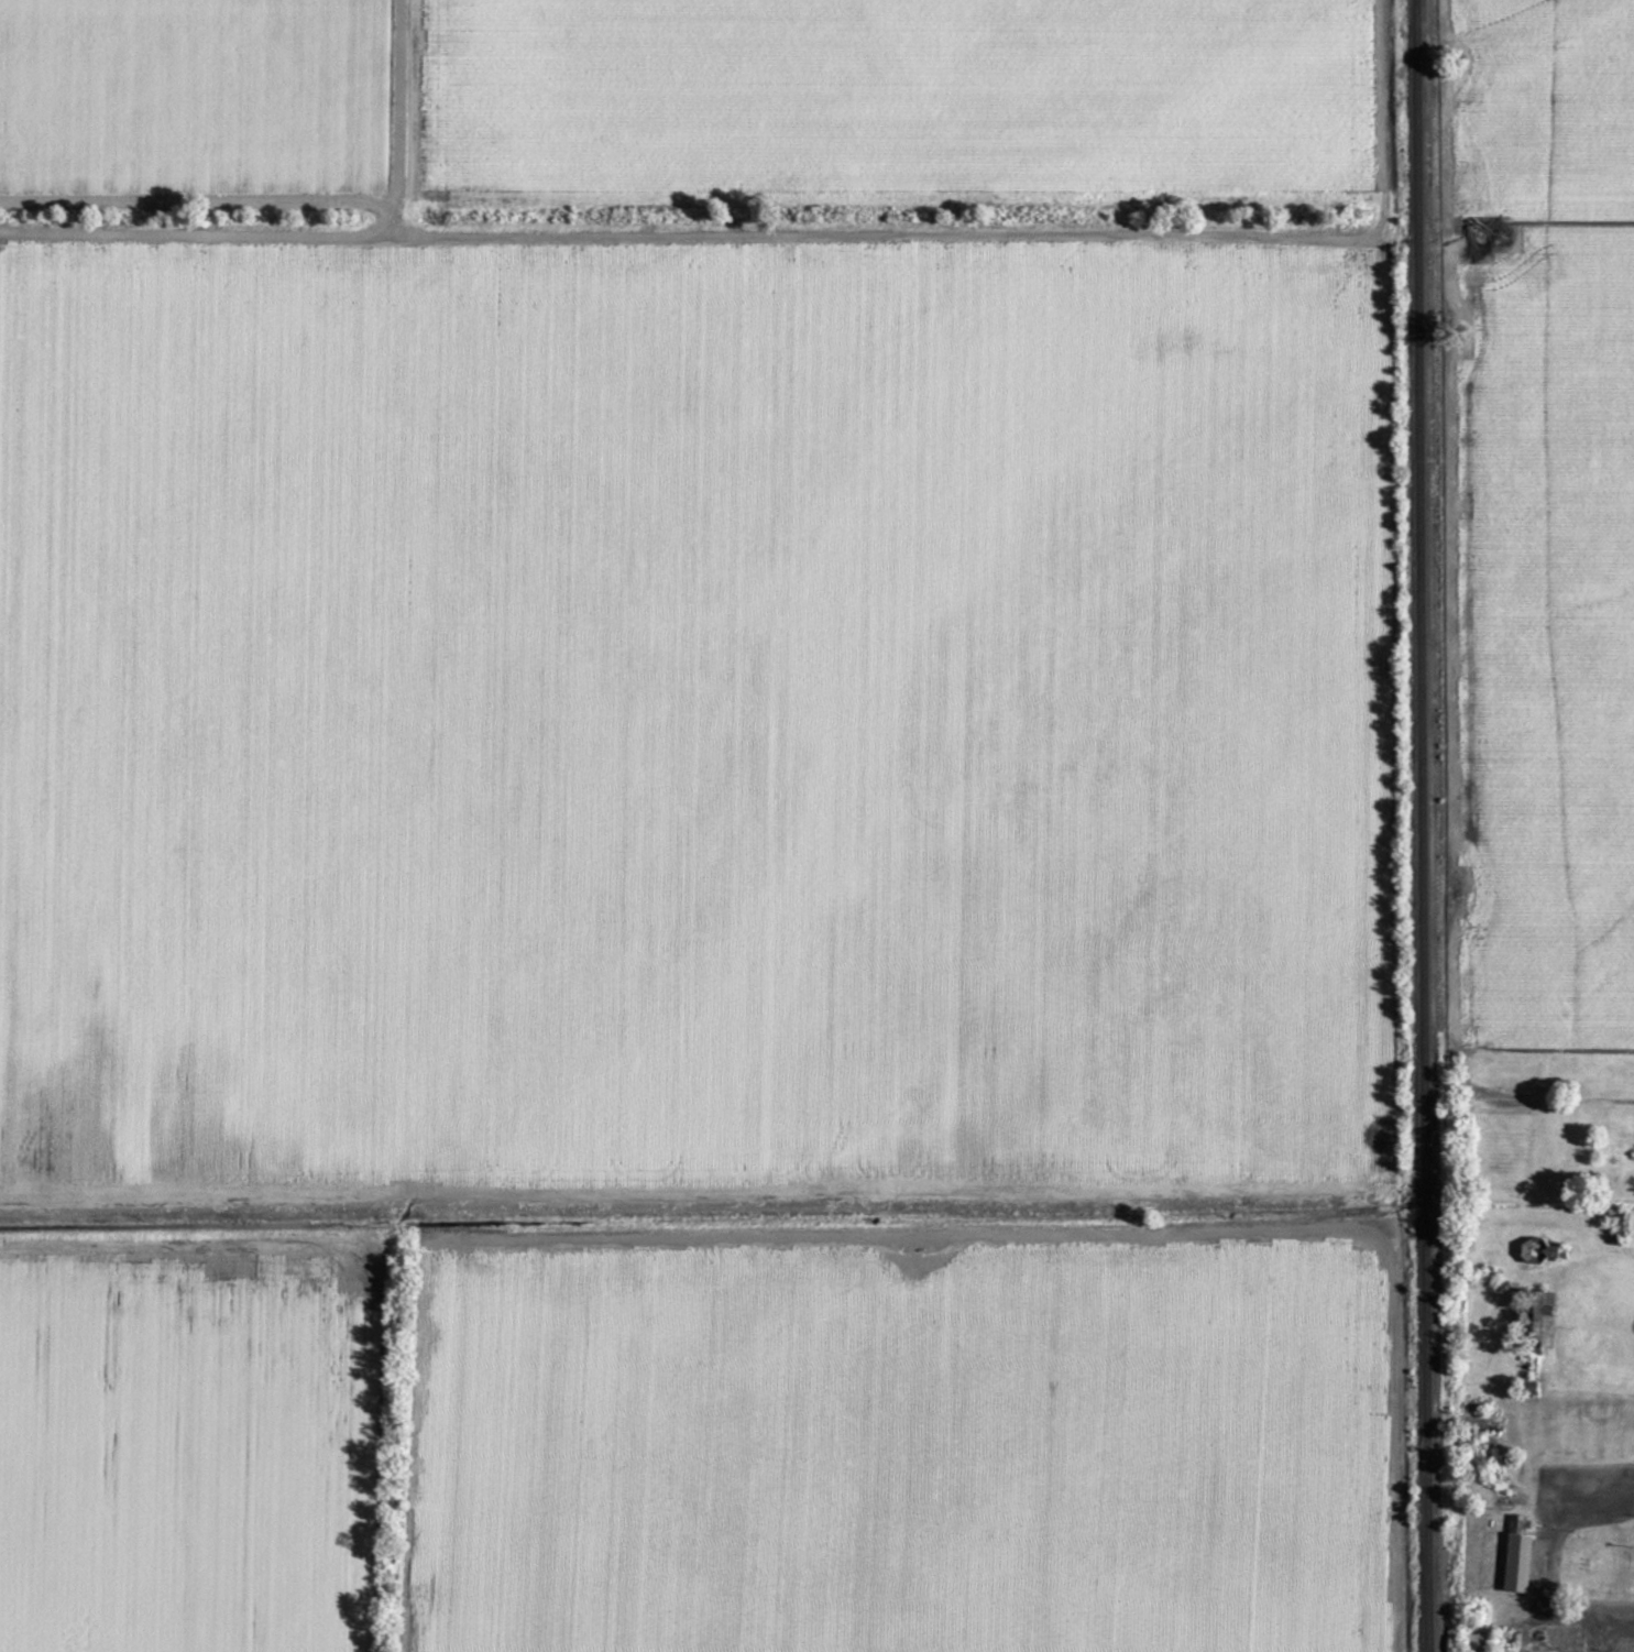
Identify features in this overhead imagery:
railway: (1424, 825)
building: (1614, 1218)
building: (1539, 1321)
road: (1572, 1510)
building: (1517, 1556)
road: (1615, 1634)

